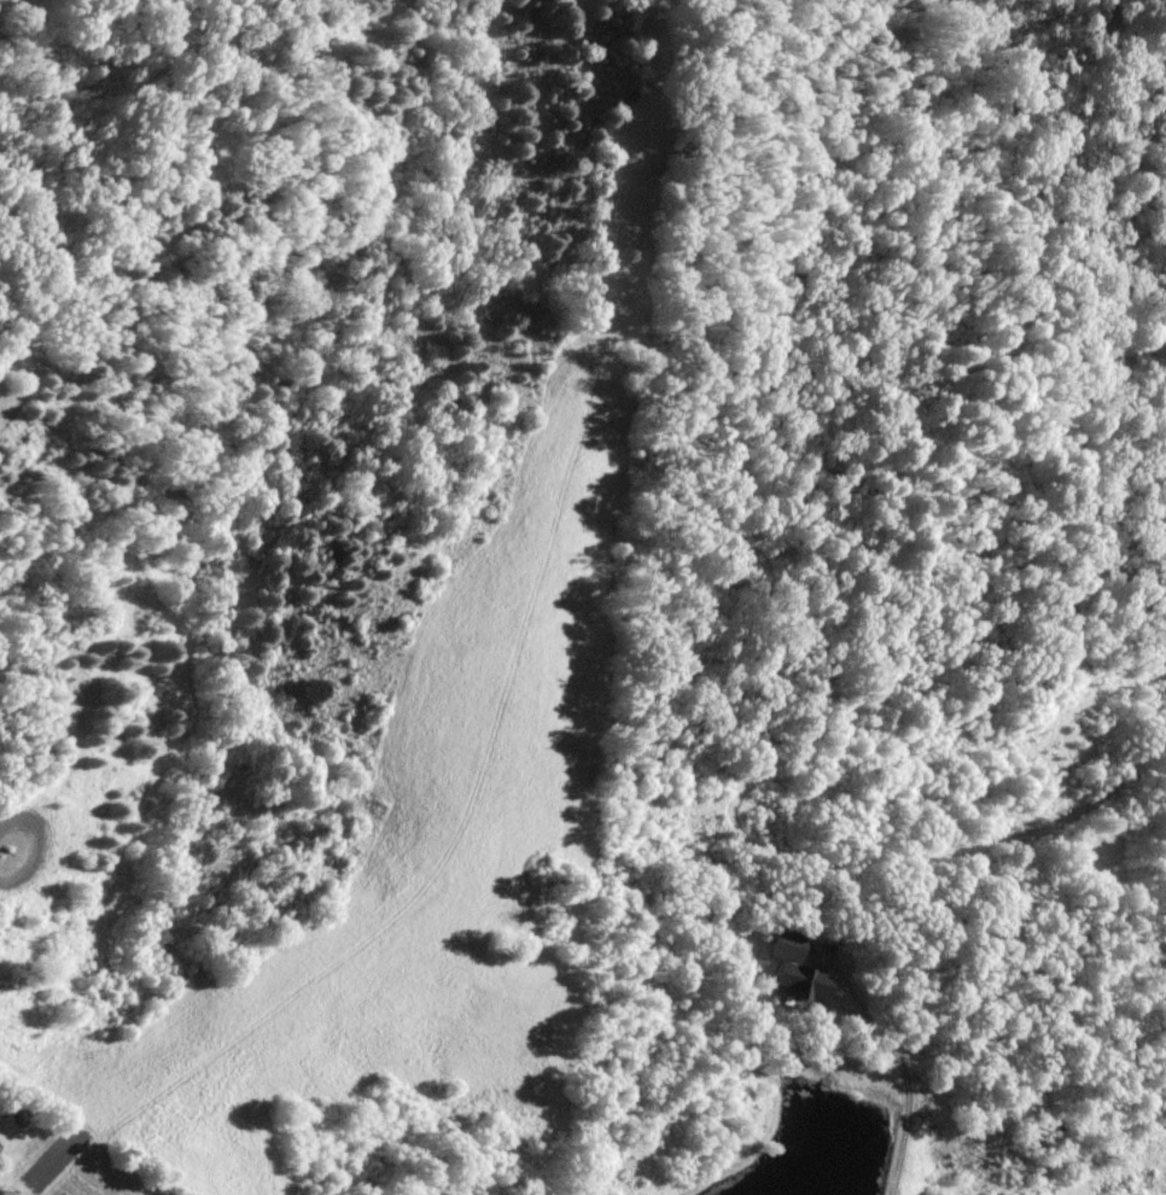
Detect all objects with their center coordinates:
building: (792, 970)
road: (905, 1071)

